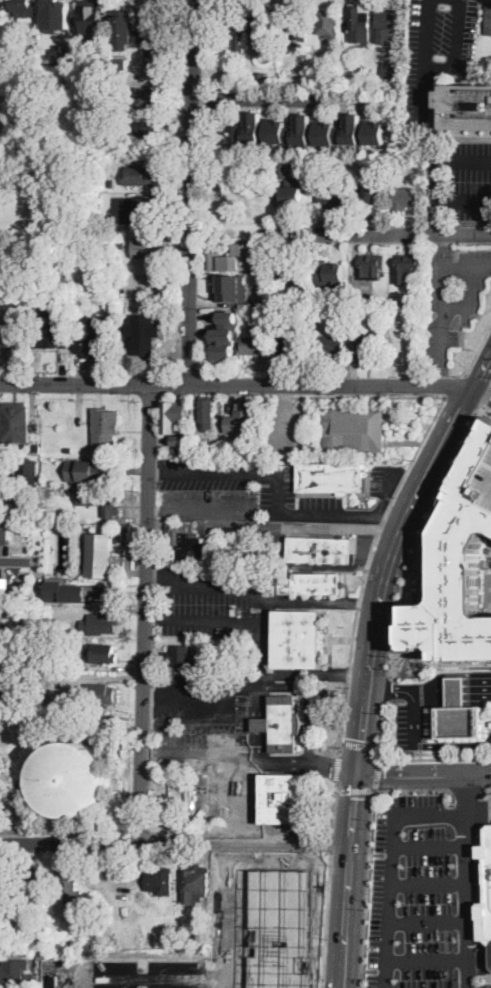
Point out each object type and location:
building: (24, 7)
building: (55, 15)
building: (90, 19)
building: (488, 21)
building: (366, 22)
building: (161, 23)
building: (328, 23)
building: (356, 23)
building: (265, 24)
building: (235, 25)
building: (388, 25)
building: (11, 26)
building: (299, 27)
building: (122, 28)
parking lot: (436, 49)
building: (64, 52)
building: (156, 53)
building: (119, 61)
building: (109, 64)
road: (440, 67)
building: (388, 69)
building: (263, 74)
building: (252, 79)
building: (355, 79)
road: (283, 96)
building: (146, 98)
building: (466, 105)
building: (353, 129)
building: (248, 130)
building: (275, 130)
building: (301, 130)
building: (375, 131)
building: (147, 132)
building: (328, 132)
road: (435, 148)
road: (464, 160)
building: (282, 168)
building: (138, 176)
parking lot: (470, 180)
building: (112, 182)
building: (372, 188)
road: (189, 190)
building: (362, 190)
building: (331, 195)
building: (292, 196)
building: (406, 197)
road: (464, 197)
building: (145, 209)
road: (381, 234)
building: (55, 239)
road: (445, 243)
building: (122, 246)
building: (148, 247)
building: (268, 249)
building: (234, 259)
building: (372, 266)
road: (468, 266)
building: (405, 268)
building: (290, 273)
building: (331, 274)
building: (230, 289)
parking lot: (454, 295)
building: (368, 300)
building: (271, 302)
building: (34, 307)
road: (459, 307)
road: (443, 309)
building: (368, 312)
building: (267, 315)
building: (49, 332)
building: (11, 333)
building: (146, 334)
building: (223, 336)
building: (92, 341)
building: (255, 343)
building: (331, 345)
building: (367, 348)
road: (478, 349)
building: (286, 350)
road: (481, 367)
road: (443, 375)
road: (236, 382)
road: (454, 384)
road: (481, 390)
road: (362, 395)
road: (487, 397)
road: (486, 412)
building: (207, 413)
building: (173, 416)
building: (15, 423)
building: (242, 423)
building: (105, 428)
building: (342, 430)
building: (374, 430)
building: (180, 441)
building: (36, 446)
building: (198, 447)
building: (68, 450)
building: (230, 450)
road: (153, 470)
building: (29, 472)
building: (91, 473)
building: (363, 477)
building: (330, 478)
parking lot: (382, 478)
road: (277, 484)
building: (486, 484)
parking garage: (486, 484)
parking lot: (222, 489)
building: (18, 499)
parking lot: (321, 502)
building: (101, 504)
building: (34, 512)
road: (390, 517)
building: (82, 527)
road: (270, 528)
building: (4, 536)
road: (422, 536)
road: (431, 540)
building: (188, 542)
building: (320, 550)
road: (428, 552)
road: (424, 553)
building: (99, 555)
road: (18, 560)
road: (367, 567)
road: (385, 568)
building: (458, 568)
road: (427, 574)
road: (152, 580)
road: (423, 582)
road: (223, 583)
building: (5, 584)
building: (311, 584)
road: (420, 584)
road: (430, 584)
building: (77, 590)
road: (417, 595)
parking lot: (214, 601)
road: (323, 603)
road: (144, 611)
road: (266, 611)
road: (154, 617)
road: (248, 619)
building: (1, 623)
building: (101, 623)
building: (298, 639)
building: (74, 644)
building: (102, 653)
road: (428, 654)
building: (10, 656)
building: (183, 657)
building: (9, 663)
road: (439, 663)
building: (39, 680)
road: (388, 688)
road: (390, 690)
road: (453, 691)
building: (456, 691)
building: (97, 694)
road: (148, 695)
road: (192, 695)
road: (310, 700)
parking lot: (197, 708)
road: (150, 715)
road: (224, 715)
road: (415, 718)
building: (461, 723)
building: (282, 724)
road: (262, 725)
parking lot: (413, 725)
road: (384, 728)
parking lot: (488, 736)
road: (453, 744)
road: (361, 745)
road: (249, 758)
road: (435, 758)
road: (336, 767)
park: (64, 770)
traffic signals: (358, 770)
road: (128, 771)
road: (377, 773)
road: (424, 775)
water tower: (74, 777)
building: (73, 778)
building: (182, 782)
road: (487, 786)
building: (22, 788)
road: (465, 788)
road: (411, 789)
road: (354, 790)
road: (211, 797)
road: (248, 799)
building: (284, 801)
parking lot: (211, 802)
road: (354, 806)
road: (333, 807)
building: (166, 809)
road: (62, 829)
road: (175, 841)
road: (329, 843)
road: (429, 848)
road: (391, 864)
road: (465, 880)
building: (30, 881)
building: (160, 881)
building: (194, 883)
road: (427, 884)
building: (72, 886)
road: (367, 888)
building: (483, 889)
parking lot: (425, 894)
building: (3, 898)
road: (225, 914)
road: (346, 915)
road: (325, 921)
road: (426, 923)
building: (281, 928)
building: (181, 933)
building: (2, 937)
building: (72, 945)
road: (426, 960)
building: (14, 971)
parking lot: (135, 974)
road: (140, 978)

